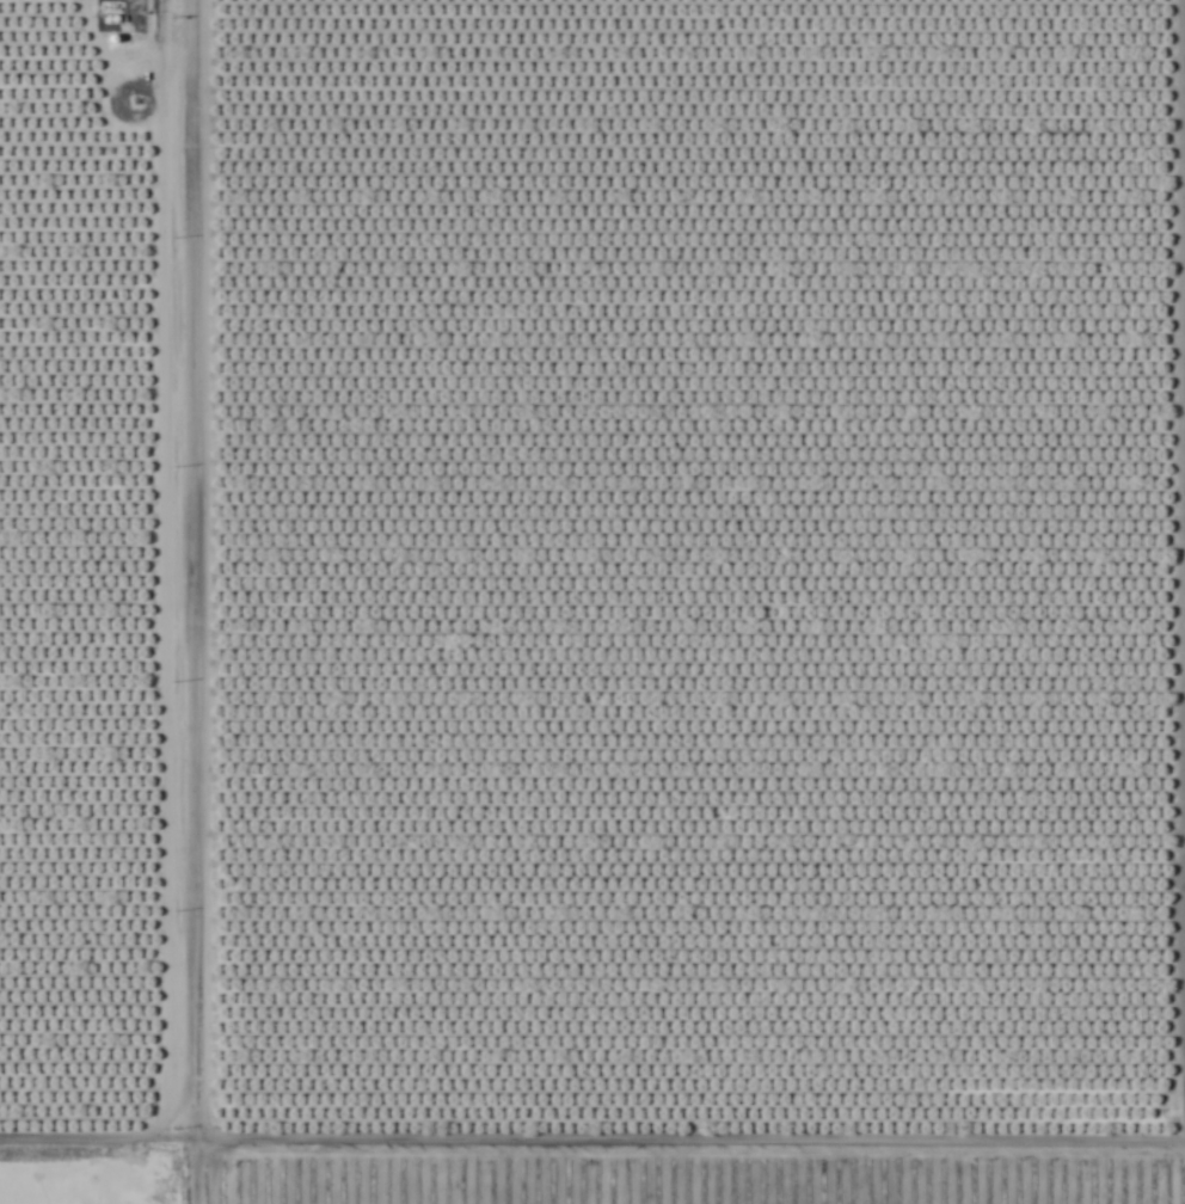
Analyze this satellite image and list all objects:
road: (1179, 573)
crop: (592, 578)
road: (182, 602)
road: (91, 1145)
road: (683, 1145)

